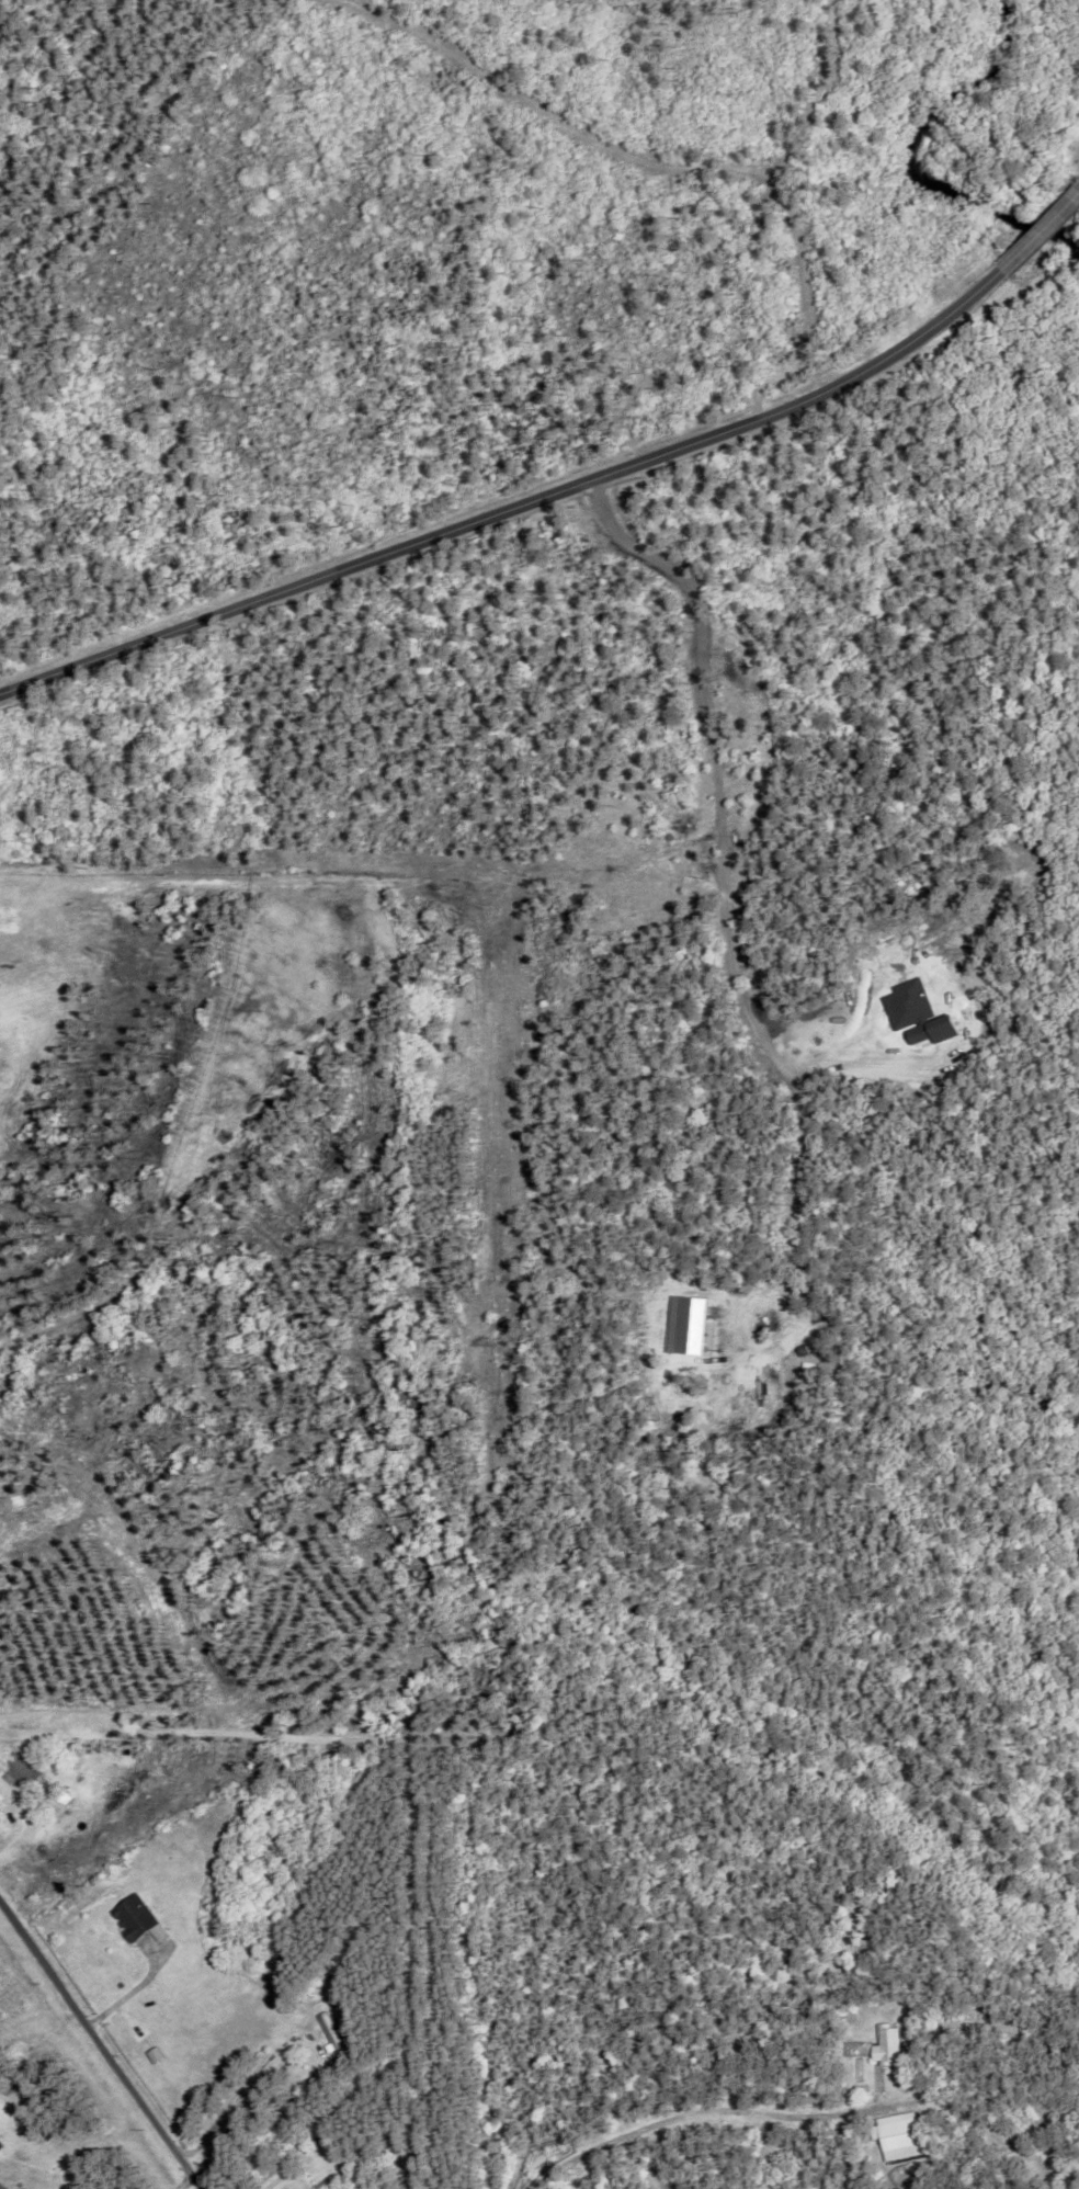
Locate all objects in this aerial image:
road: (564, 490)
building: (20, 1769)
road: (24, 1815)
building: (132, 1917)
building: (331, 2032)
road: (101, 2044)
building: (888, 2044)
building: (855, 2058)
road: (241, 2092)
road: (715, 2110)
building: (896, 2134)
building: (1, 2144)
building: (367, 2148)
road: (190, 2184)
building: (345, 2184)
building: (326, 2187)

